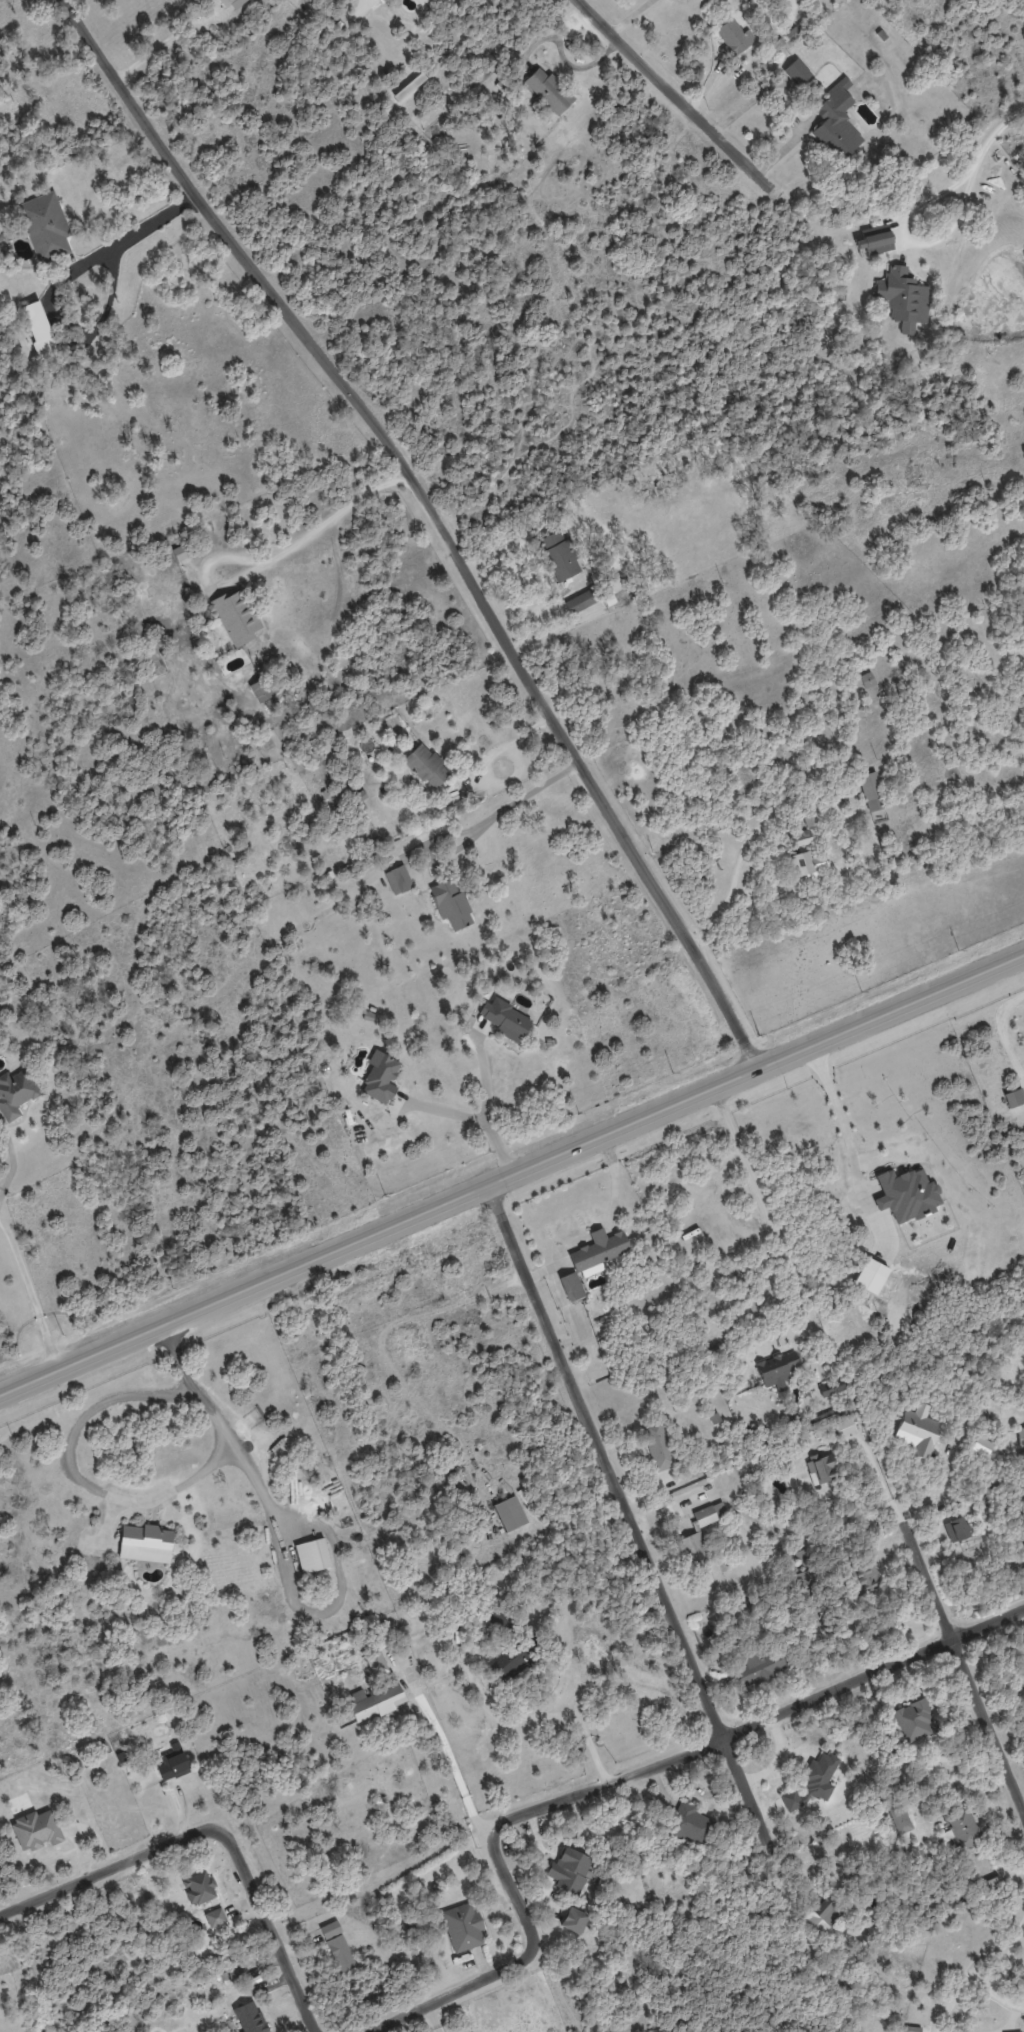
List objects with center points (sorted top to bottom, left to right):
building: (380, 0)
building: (429, 3)
building: (233, 4)
building: (732, 36)
building: (796, 72)
building: (409, 86)
building: (548, 90)
road: (673, 97)
building: (837, 121)
road: (992, 139)
building: (44, 225)
road: (137, 232)
building: (874, 241)
road: (911, 246)
building: (903, 298)
building: (39, 330)
road: (435, 517)
road: (322, 523)
building: (179, 553)
building: (558, 555)
building: (580, 601)
building: (236, 616)
road: (559, 625)
building: (867, 680)
building: (262, 690)
road: (496, 750)
building: (427, 766)
building: (872, 791)
building: (358, 796)
road: (489, 817)
building: (809, 820)
building: (800, 838)
road: (743, 849)
building: (807, 865)
building: (398, 879)
building: (451, 904)
building: (504, 1018)
building: (380, 1077)
road: (488, 1080)
building: (15, 1094)
building: (1010, 1094)
road: (477, 1117)
road: (843, 1130)
road: (512, 1174)
building: (908, 1195)
road: (0, 1211)
road: (770, 1218)
road: (605, 1228)
building: (598, 1249)
road: (16, 1250)
building: (607, 1263)
building: (873, 1277)
building: (571, 1286)
building: (576, 1322)
building: (774, 1362)
building: (831, 1388)
building: (844, 1427)
building: (917, 1429)
building: (1020, 1437)
building: (657, 1445)
building: (981, 1446)
building: (821, 1482)
road: (129, 1501)
building: (514, 1513)
building: (703, 1514)
road: (628, 1516)
building: (956, 1526)
building: (150, 1541)
building: (689, 1552)
building: (314, 1554)
building: (868, 1594)
building: (760, 1649)
building: (375, 1663)
road: (962, 1665)
building: (518, 1670)
building: (1022, 1672)
building: (379, 1703)
building: (912, 1721)
road: (754, 1724)
building: (175, 1765)
building: (817, 1779)
building: (899, 1817)
building: (691, 1821)
building: (37, 1825)
road: (214, 1827)
building: (961, 1828)
road: (487, 1841)
building: (576, 1869)
building: (200, 1884)
building: (221, 1917)
building: (827, 1917)
building: (580, 1925)
building: (465, 1927)
building: (340, 1948)
road: (453, 1993)
road: (1018, 2011)
building: (252, 2018)
road: (434, 2018)
building: (995, 2030)

